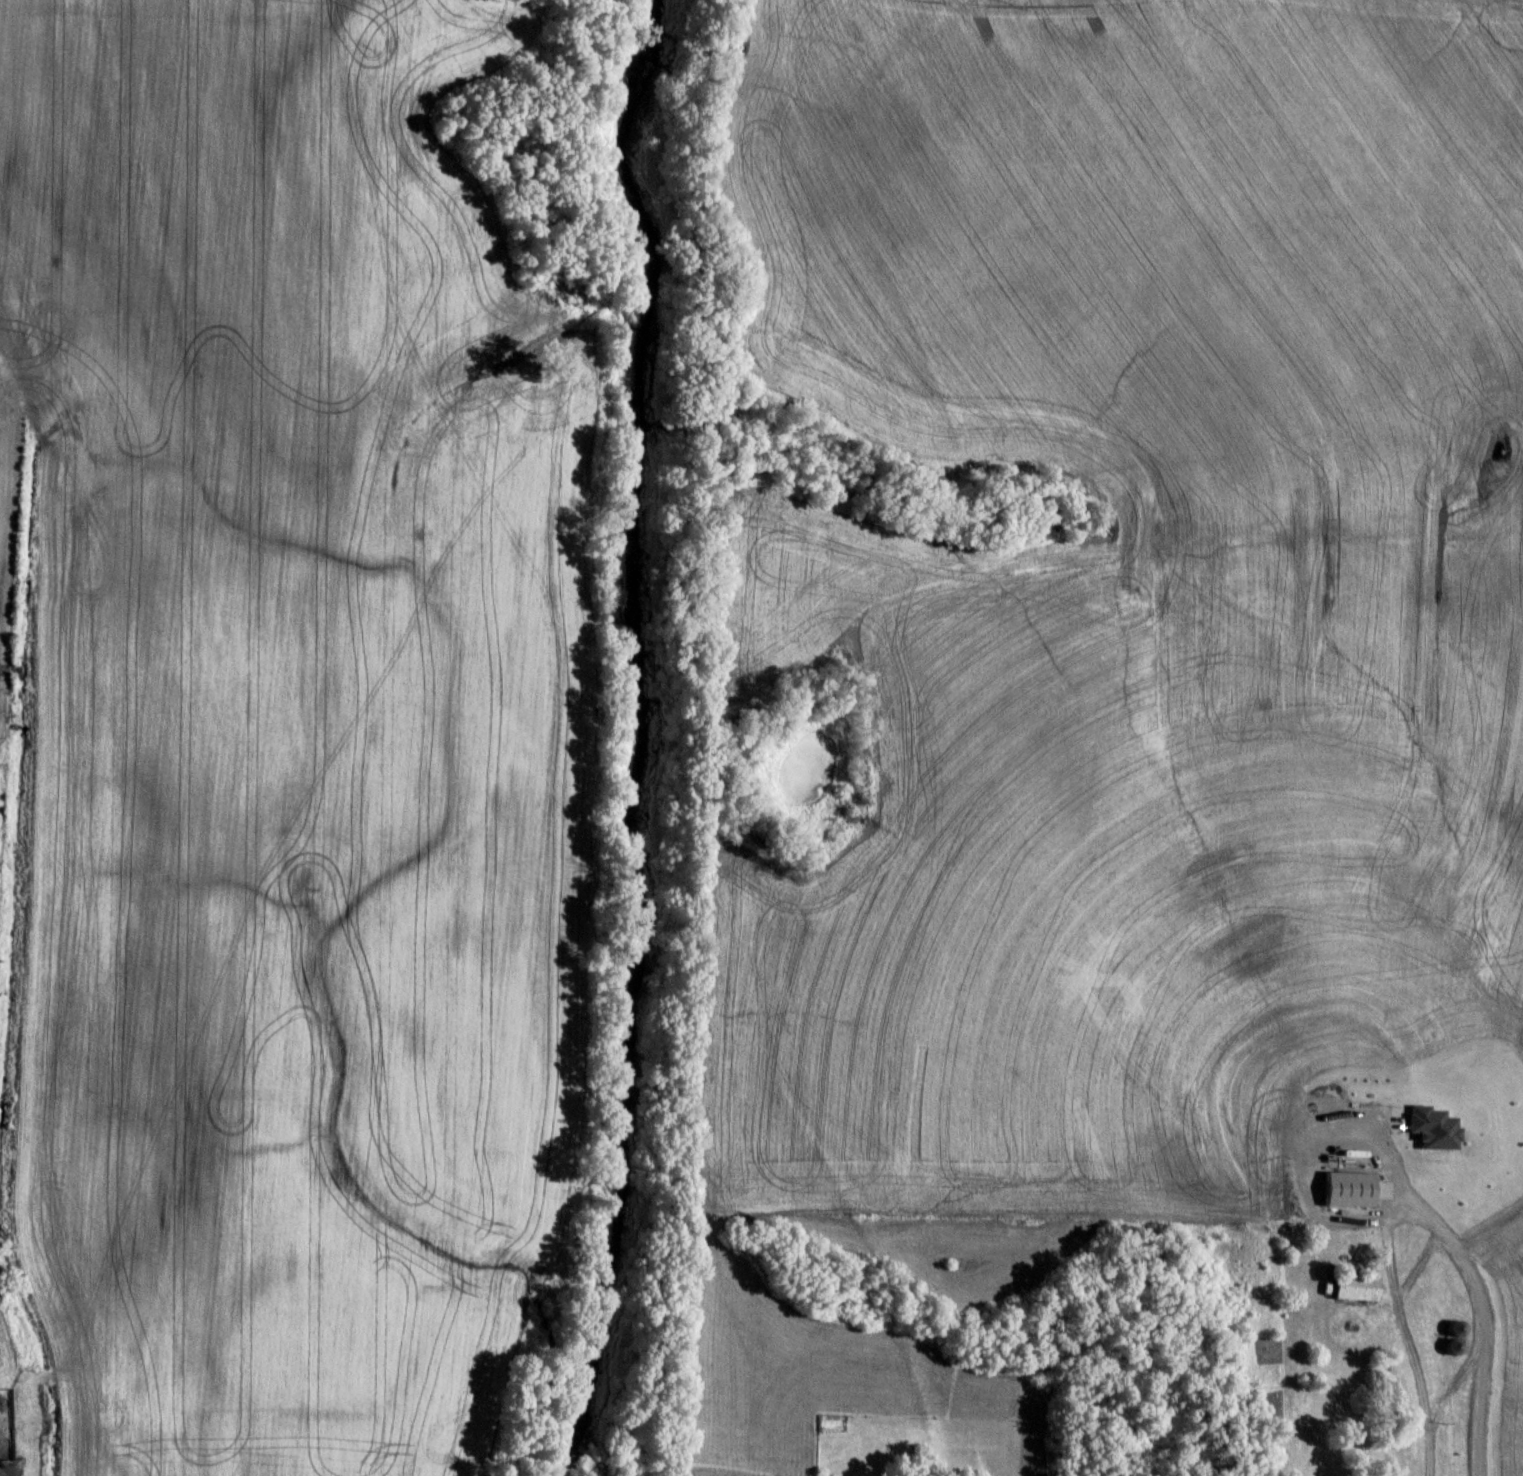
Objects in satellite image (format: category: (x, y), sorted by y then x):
building: (1346, 1187)
building: (1354, 1285)
road: (1481, 1322)
building: (1456, 1326)
building: (1452, 1345)

